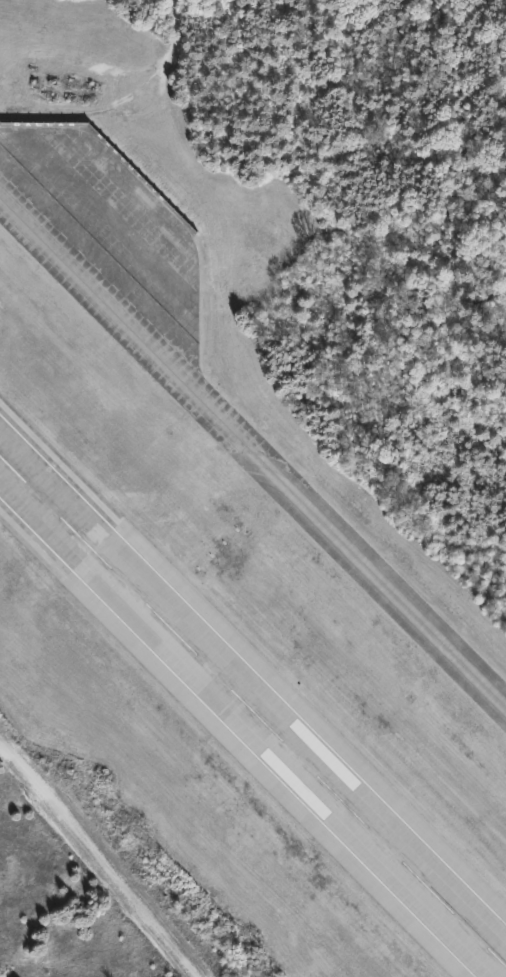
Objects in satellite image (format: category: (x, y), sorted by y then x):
airport taxiway: (255, 455)
airport: (253, 488)
airport taxiway: (189, 516)
airport runway: (252, 707)

